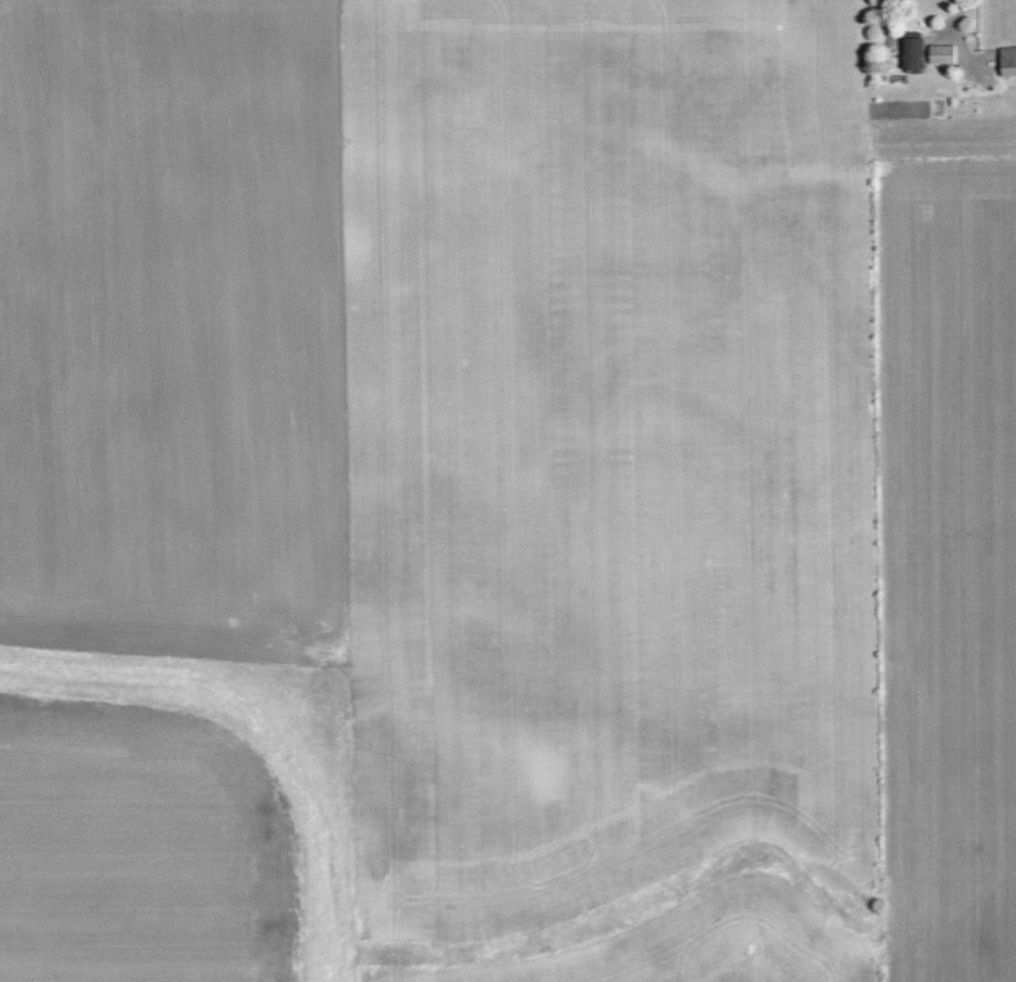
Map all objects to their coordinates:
building: (911, 50)
building: (940, 53)
building: (1007, 61)

